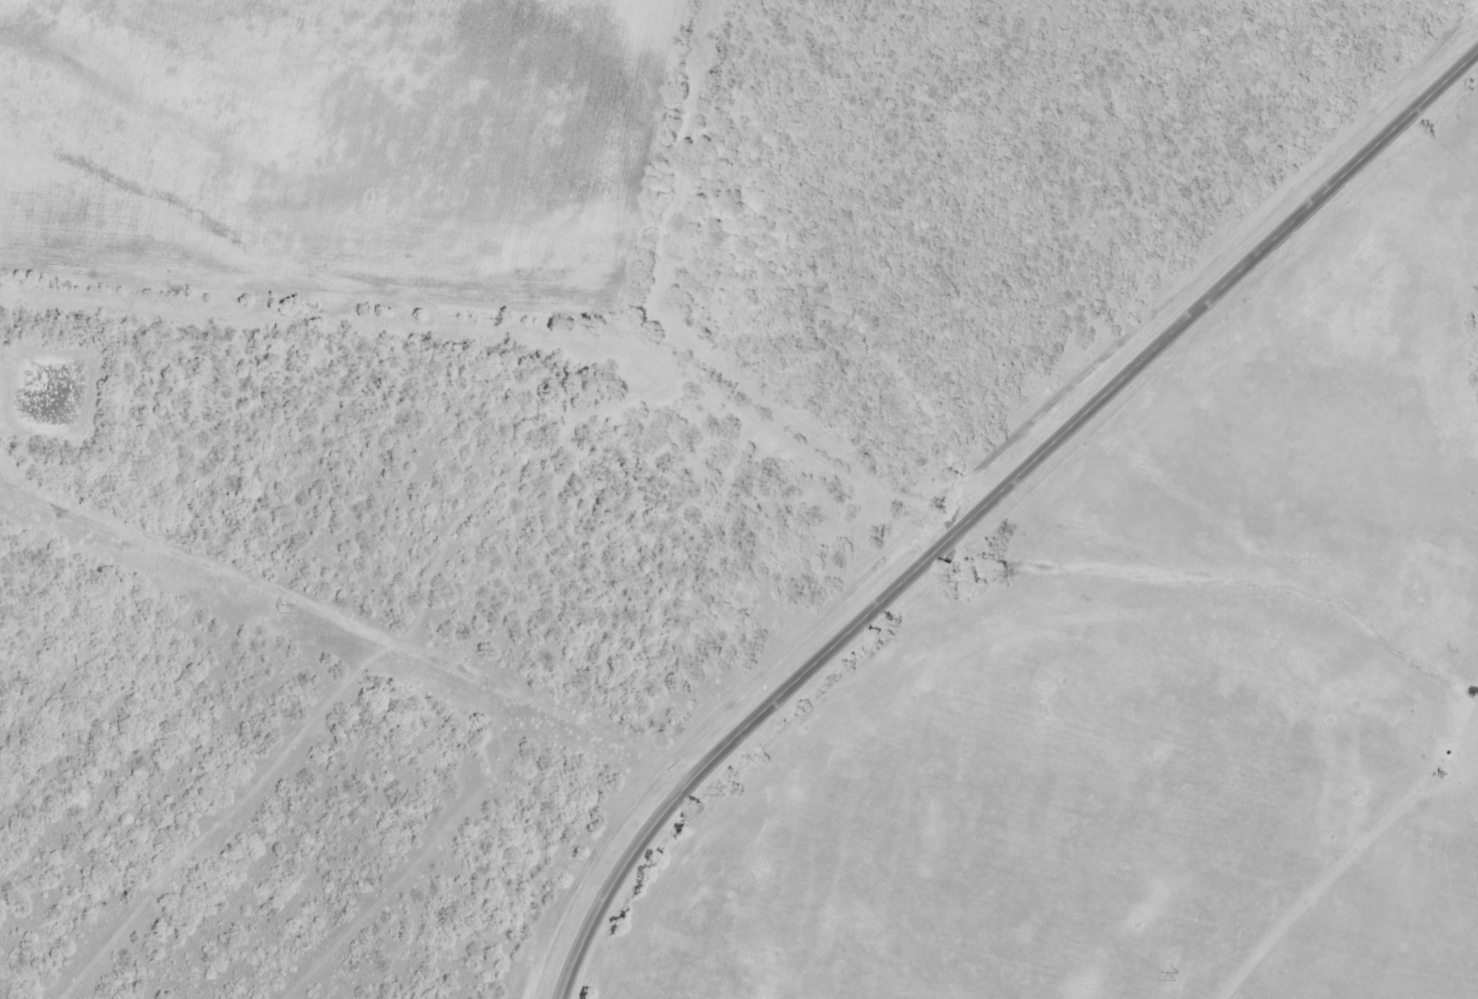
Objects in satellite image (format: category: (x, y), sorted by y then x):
road: (989, 503)
power tower: (281, 610)
power tower: (726, 792)
power tower: (1176, 977)

